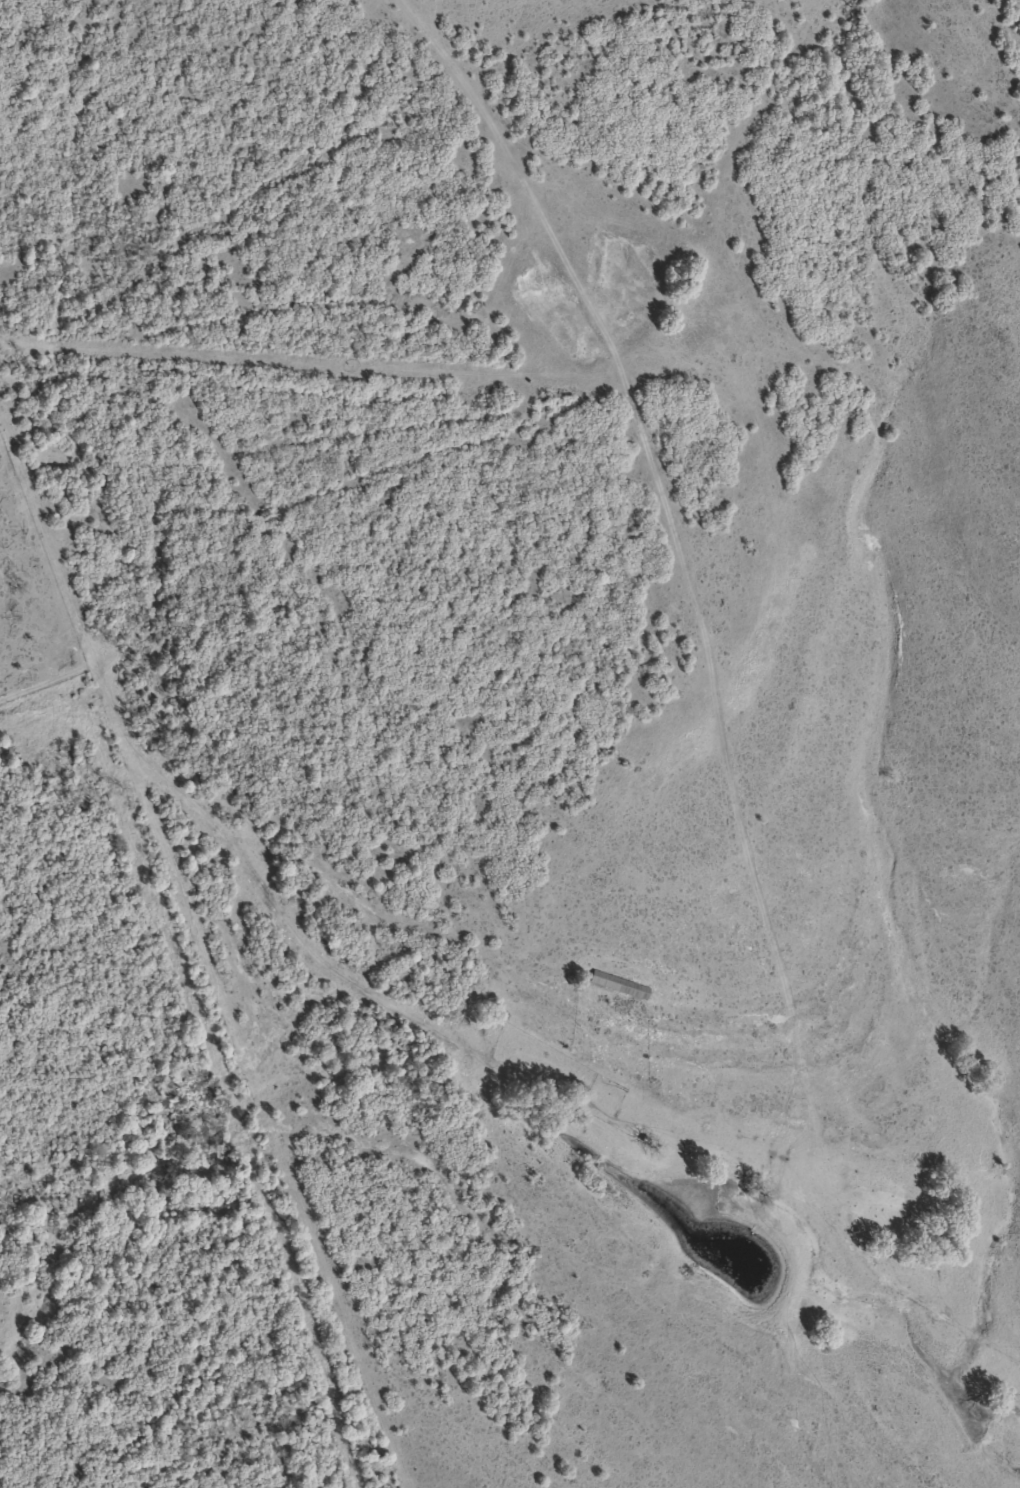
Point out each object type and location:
building: (620, 984)

